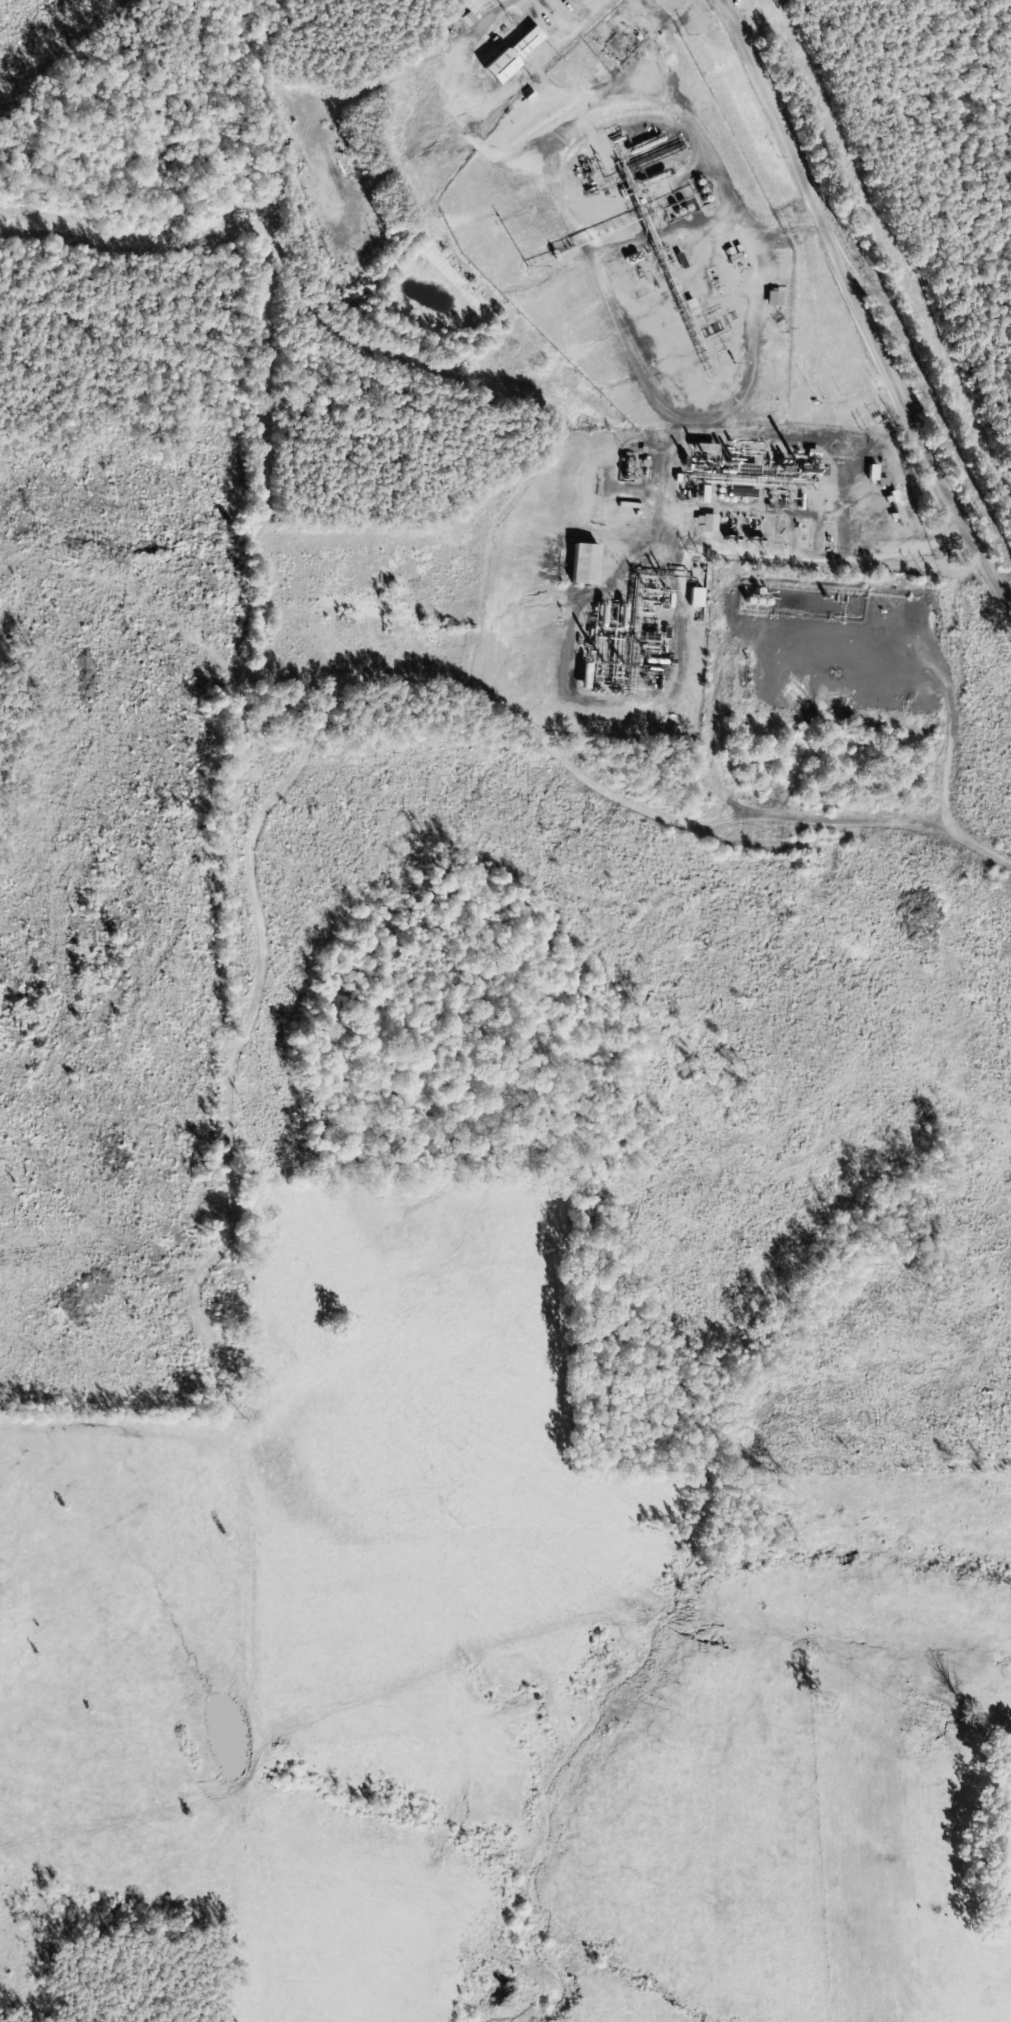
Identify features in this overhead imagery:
building: (464, 19)
building: (509, 55)
building: (771, 297)
building: (645, 303)
road: (851, 339)
building: (894, 508)
building: (580, 564)
road: (375, 686)

